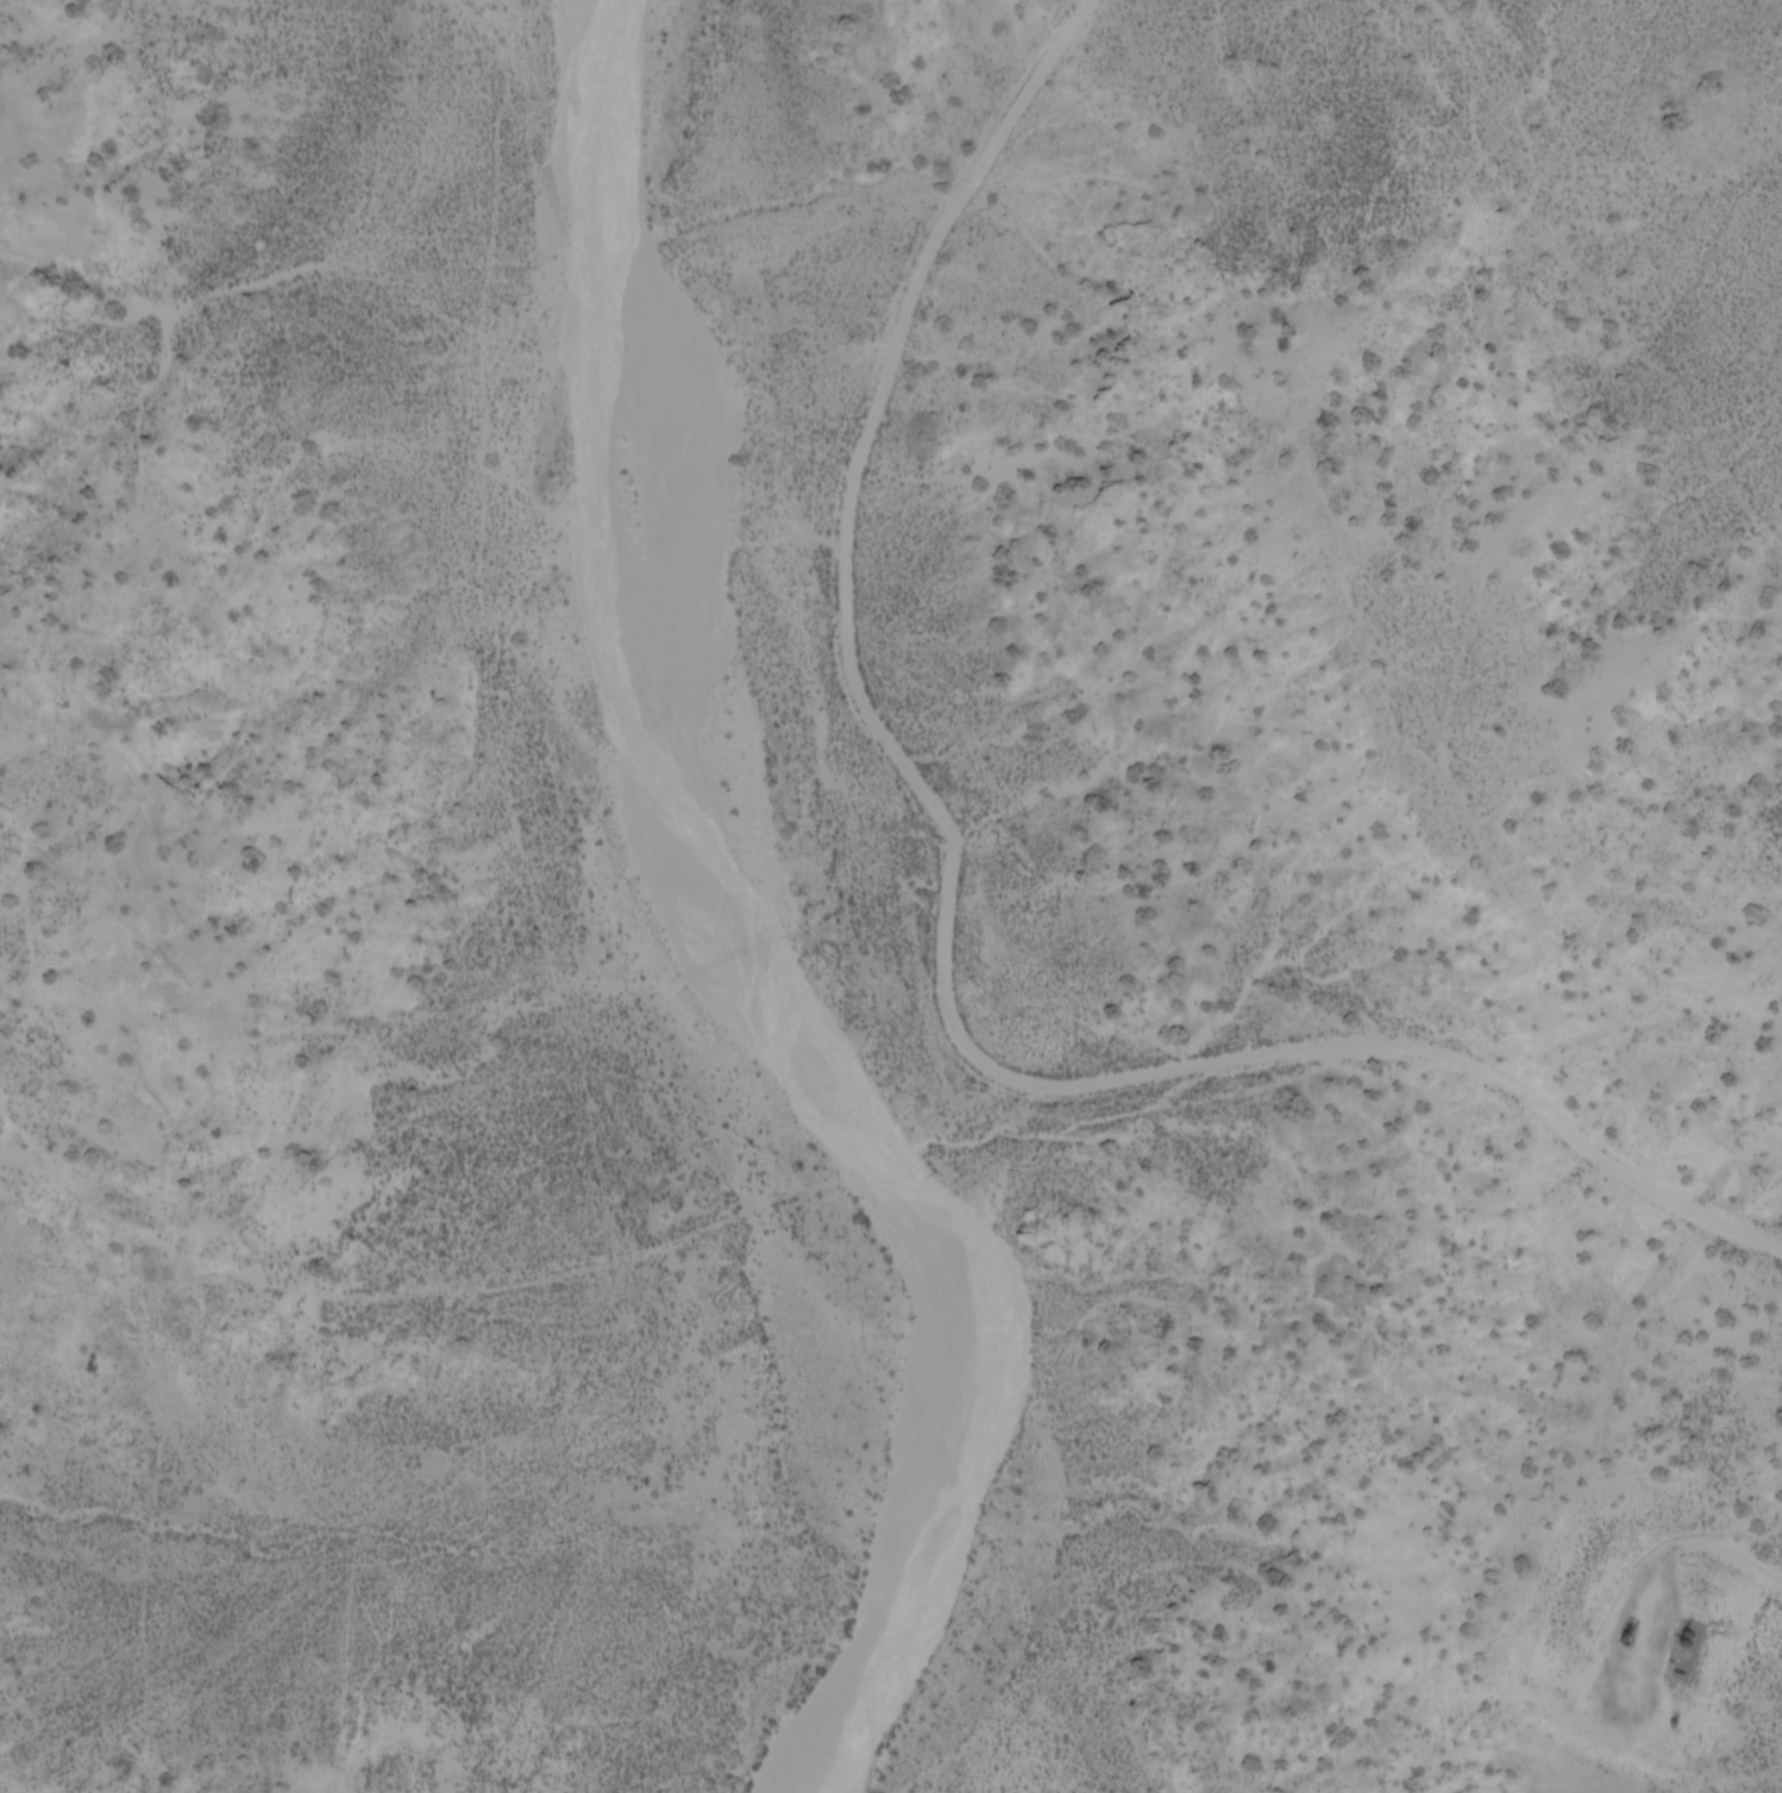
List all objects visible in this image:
river: (720, 928)
road: (902, 1222)
road: (482, 1568)
road: (4, 1789)

